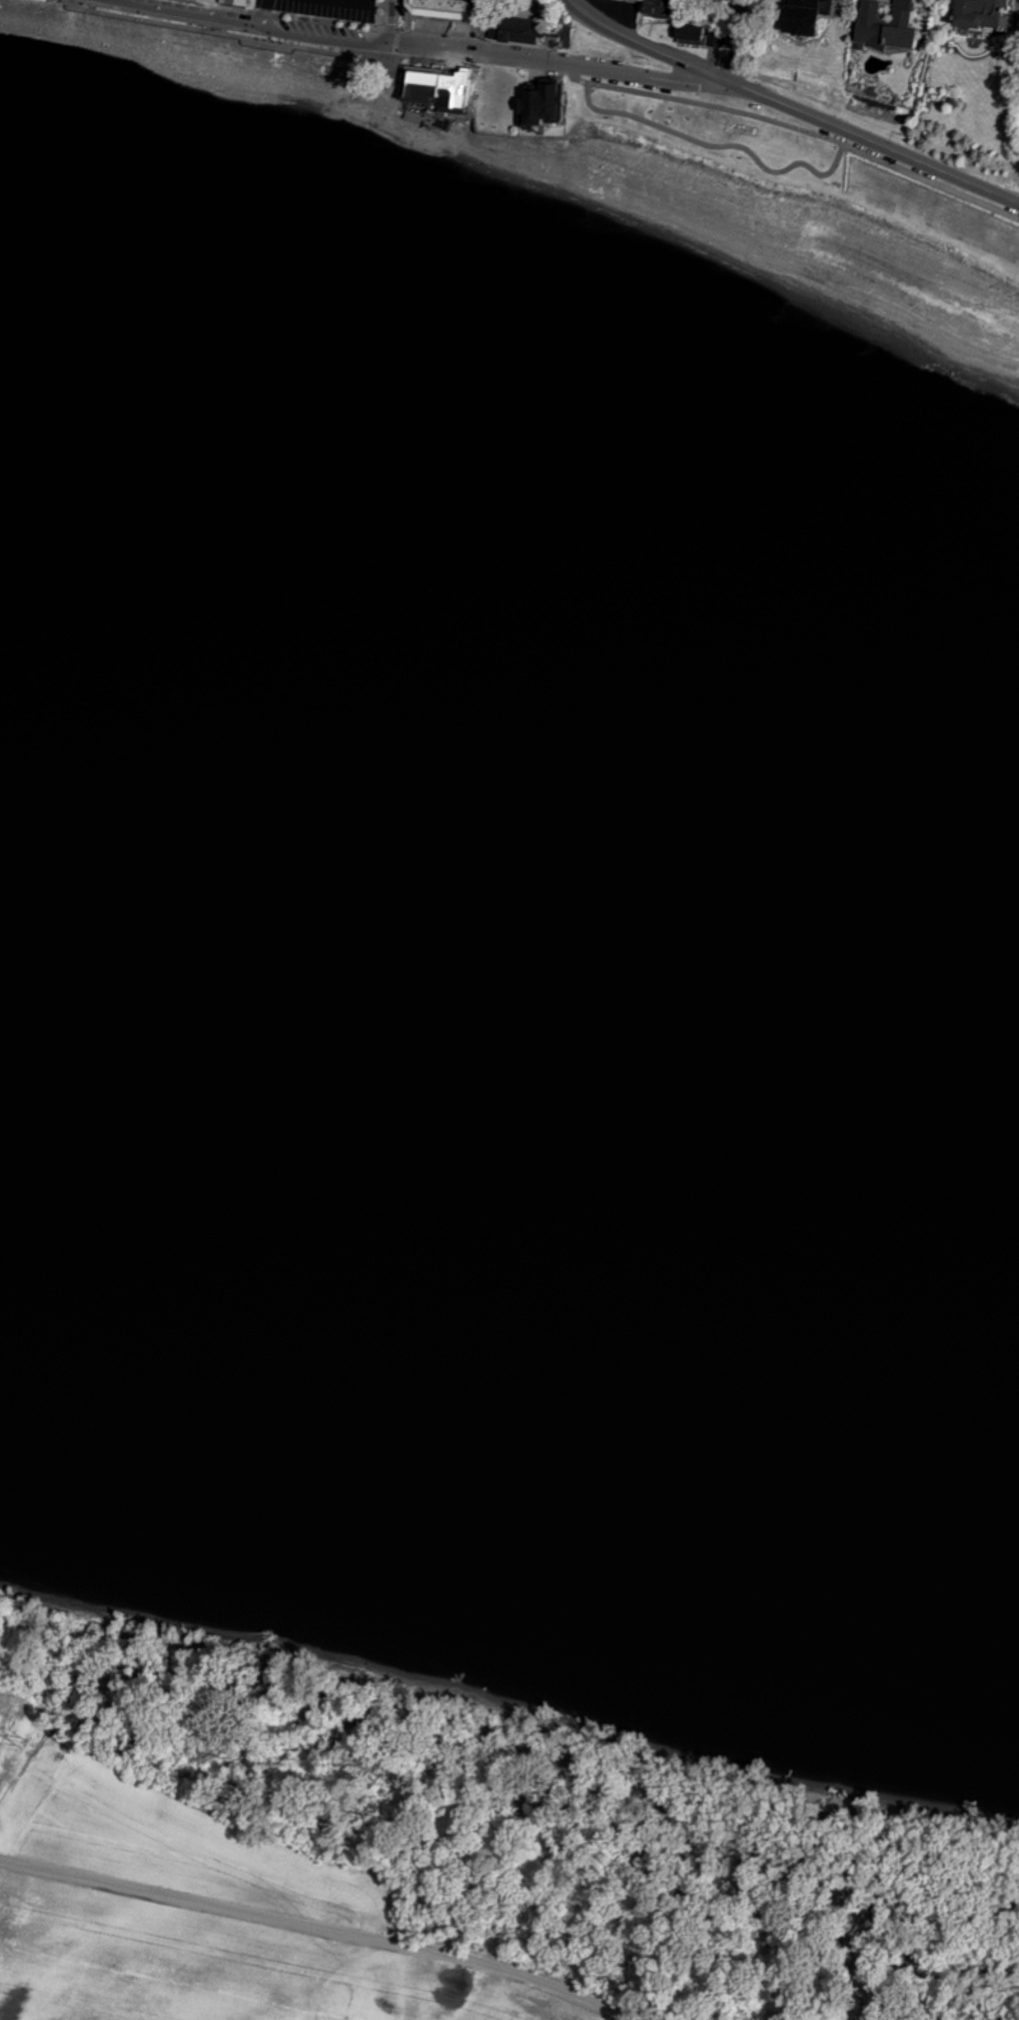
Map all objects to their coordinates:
parking lot: (209, 1)
building: (232, 2)
parking lot: (322, 7)
building: (437, 8)
building: (658, 8)
building: (988, 13)
road: (262, 15)
building: (814, 16)
road: (387, 20)
road: (252, 24)
building: (891, 25)
building: (518, 28)
building: (694, 34)
road: (732, 41)
road: (344, 51)
road: (372, 56)
road: (558, 63)
road: (545, 68)
road: (385, 77)
building: (433, 87)
road: (361, 92)
building: (538, 104)
road: (789, 107)
road: (714, 146)
river: (509, 883)
road: (319, 1927)

